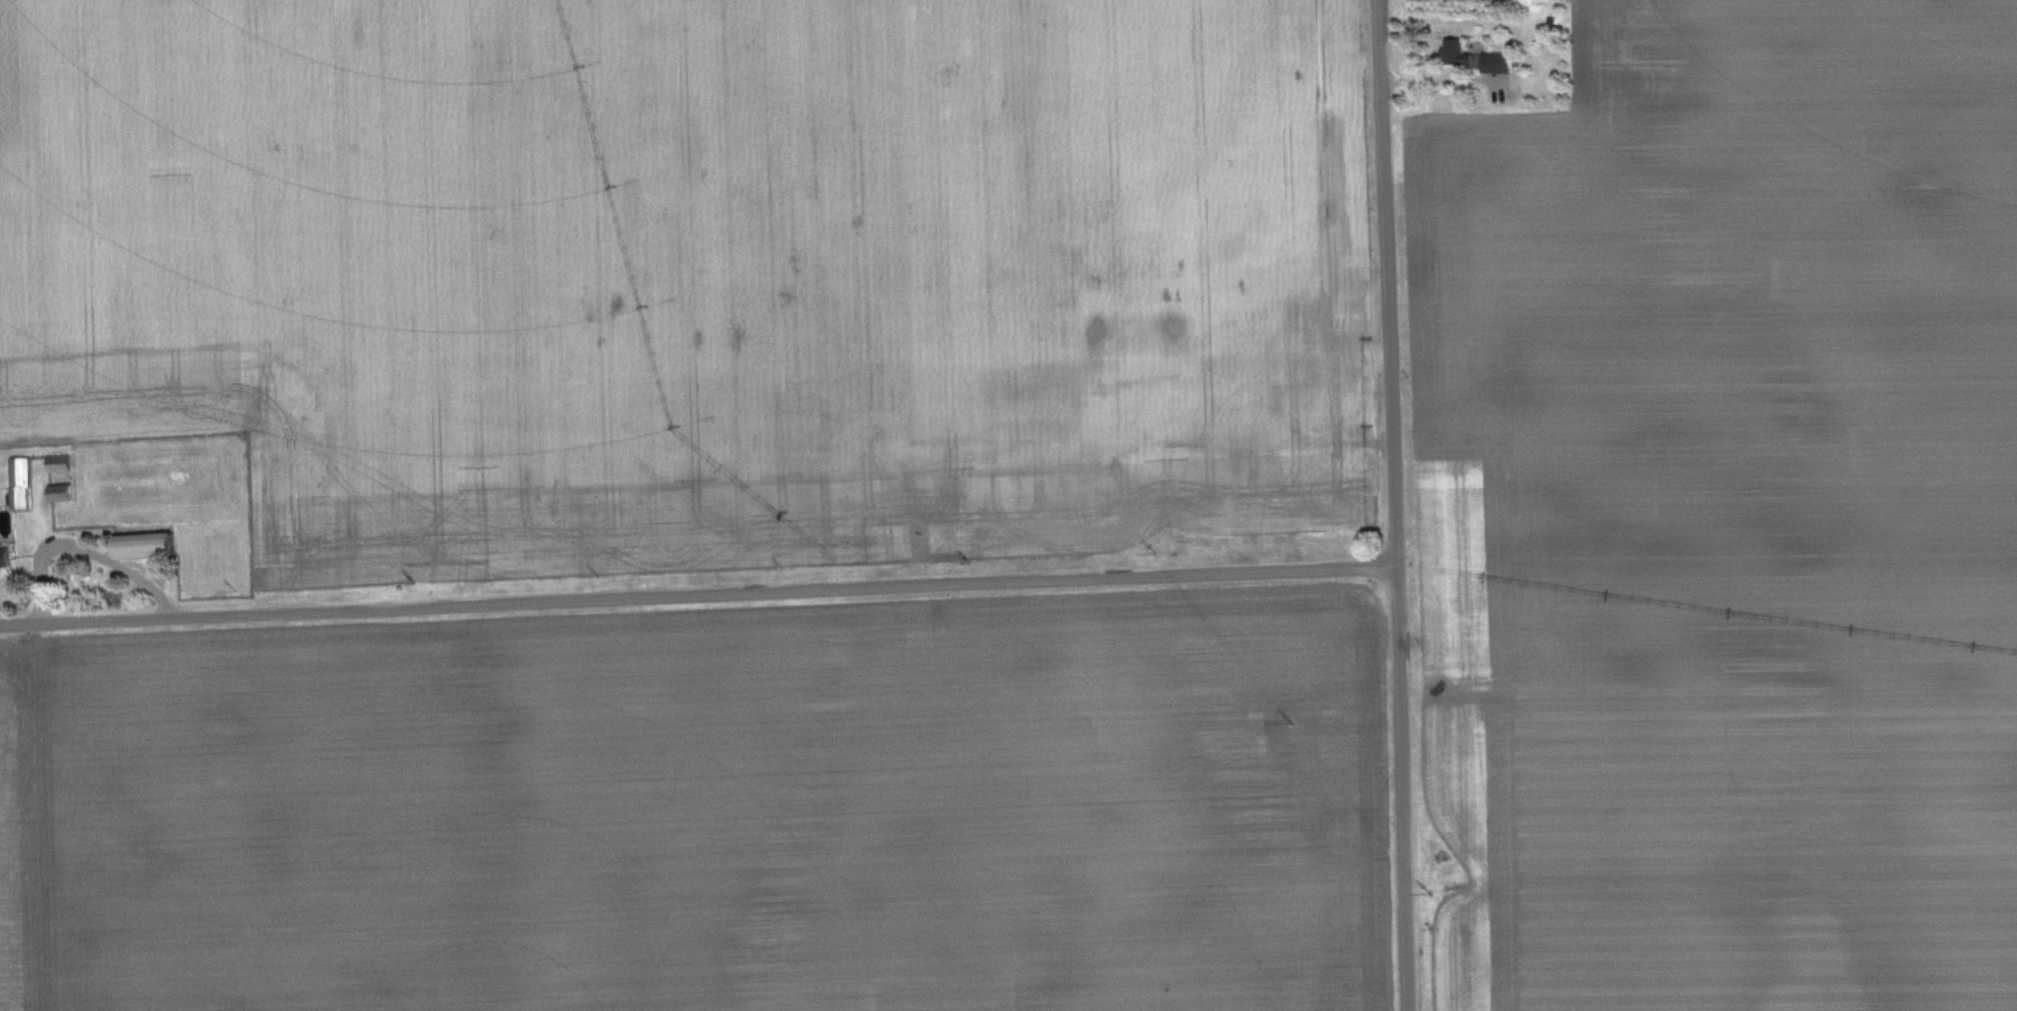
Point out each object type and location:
building: (1496, 61)
road: (1433, 79)
crop: (665, 175)
crop: (1745, 351)
crop: (770, 452)
building: (58, 461)
building: (20, 481)
building: (60, 491)
road: (1393, 505)
building: (145, 544)
road: (81, 550)
building: (4, 556)
road: (697, 594)
crop: (1460, 672)
crop: (714, 823)
crop: (24, 845)
crop: (1758, 853)

